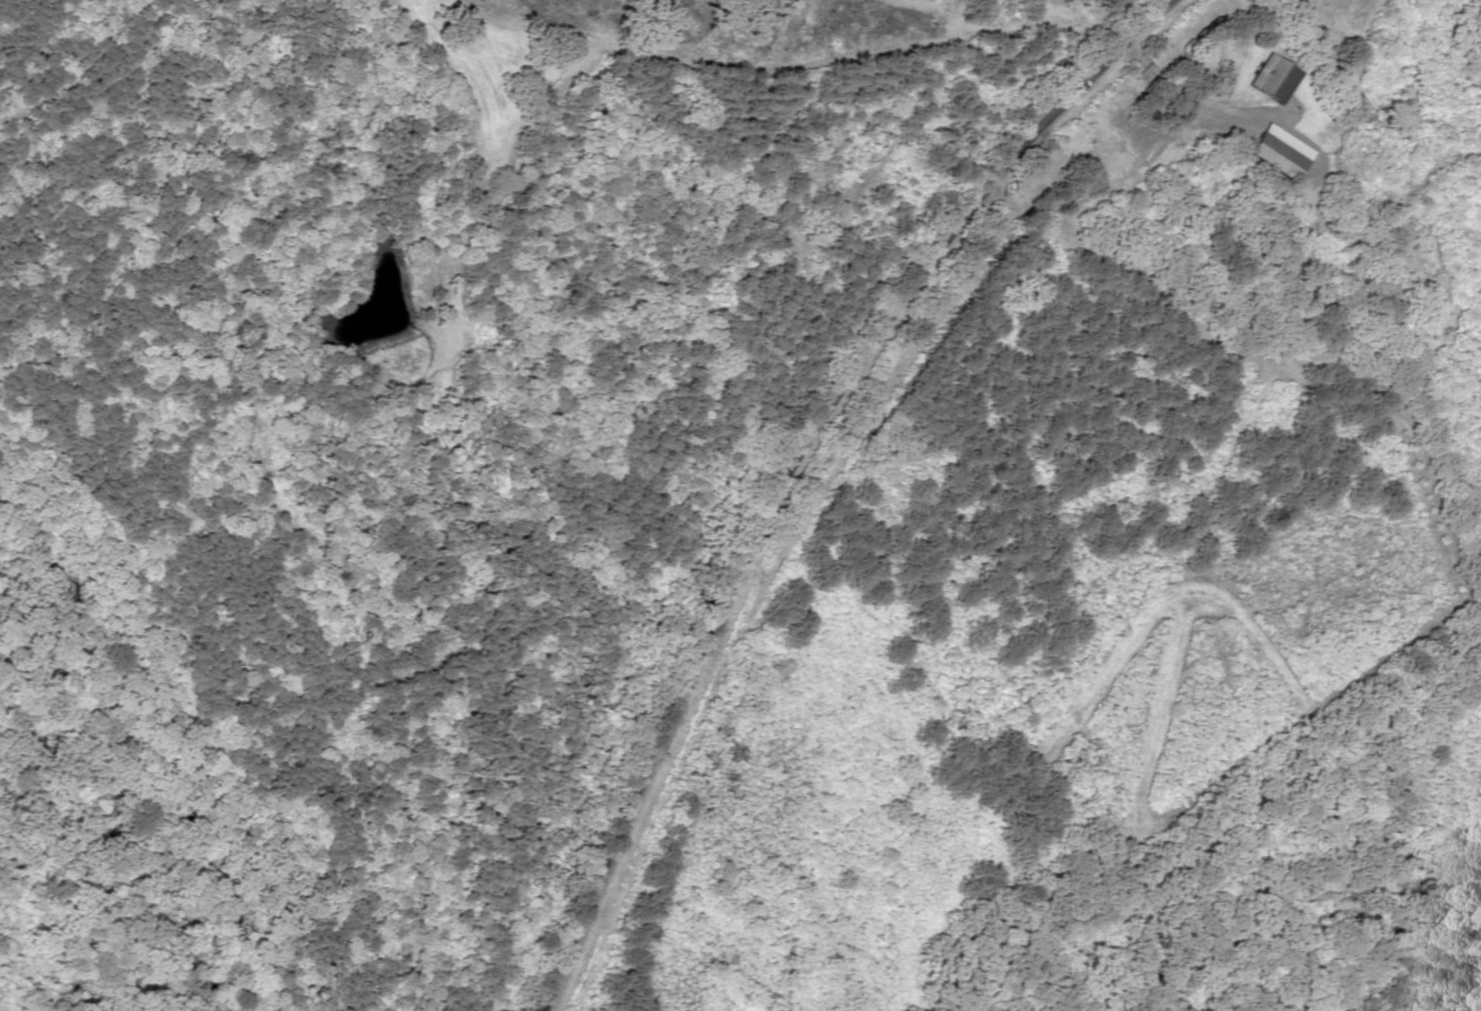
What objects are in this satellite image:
road: (1080, 80)
building: (1281, 153)
road: (1285, 311)
road: (750, 576)

